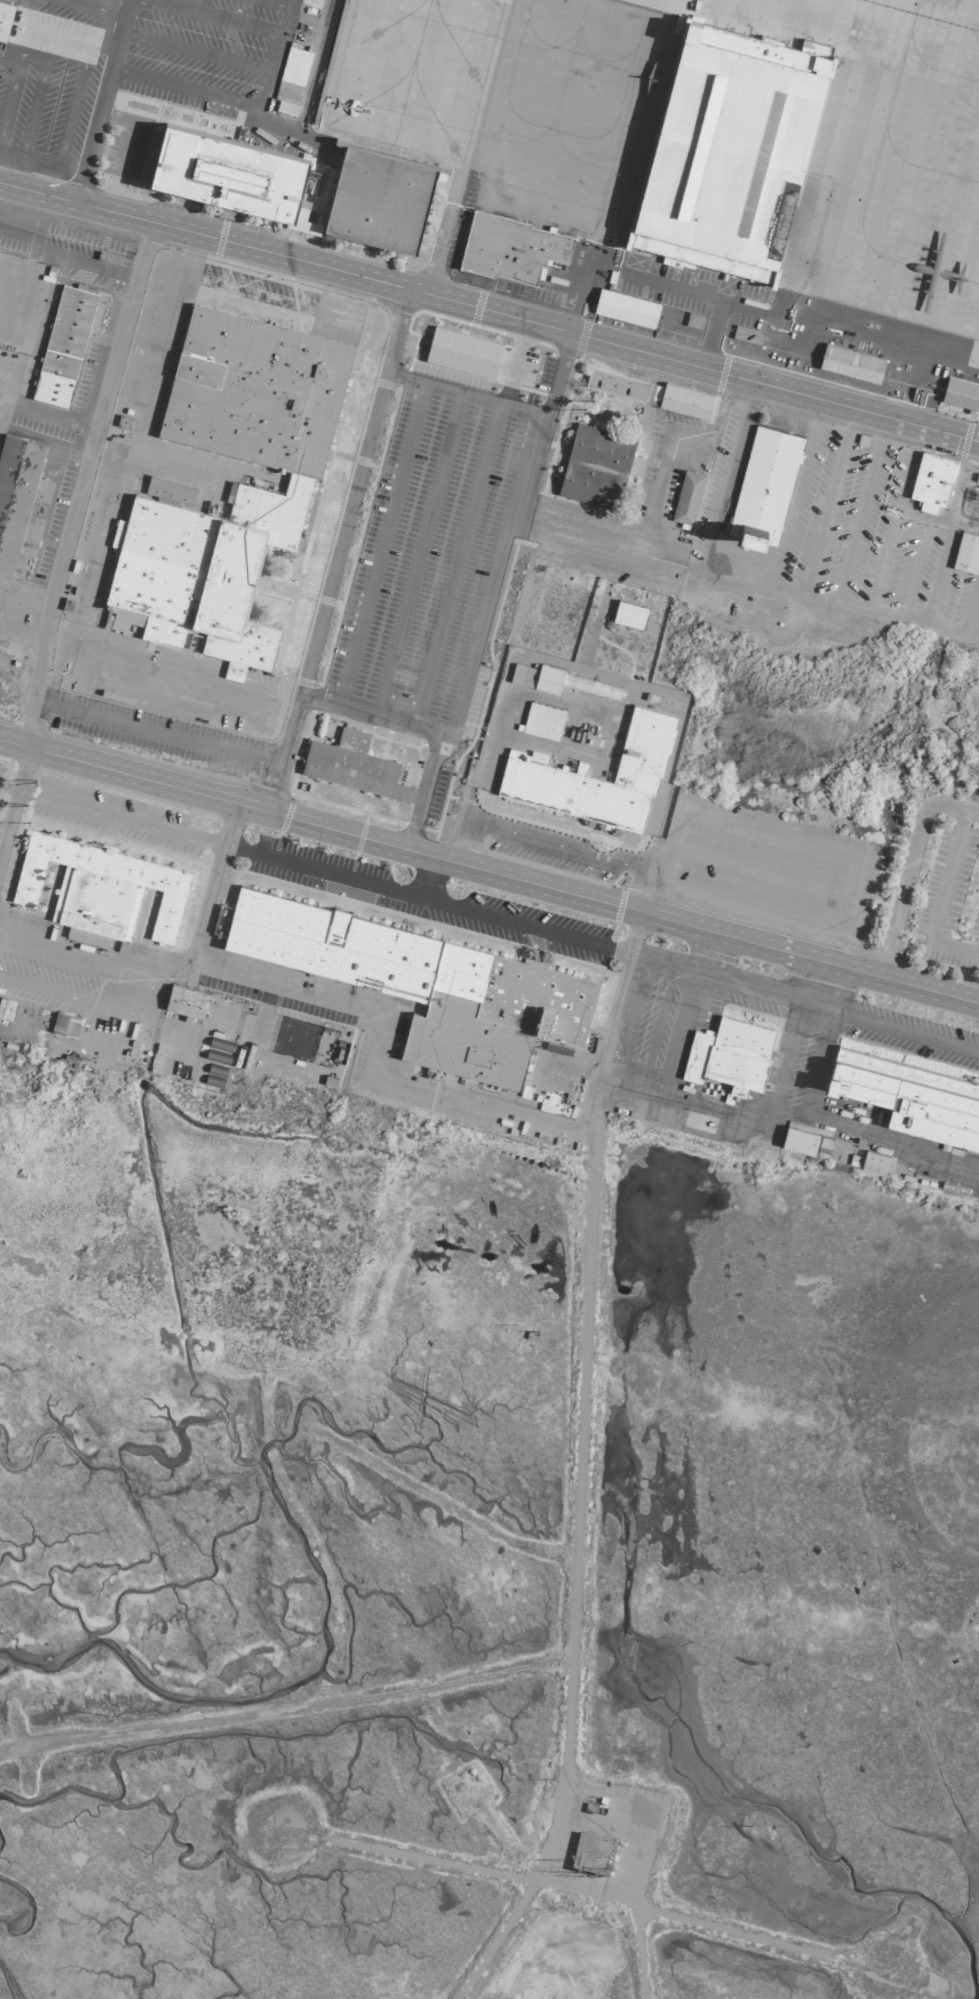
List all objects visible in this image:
road: (272, 4)
road: (191, 5)
road: (93, 8)
building: (4, 17)
road: (235, 23)
road: (68, 38)
road: (274, 53)
road: (41, 72)
road: (264, 85)
road: (99, 100)
road: (68, 121)
building: (729, 149)
airport apron: (555, 172)
building: (231, 174)
building: (380, 196)
road: (32, 220)
building: (511, 247)
road: (88, 263)
road: (649, 278)
building: (625, 307)
road: (489, 312)
building: (694, 319)
building: (746, 334)
building: (64, 343)
building: (462, 351)
building: (850, 363)
road: (7, 376)
building: (649, 392)
road: (464, 394)
building: (961, 394)
road: (721, 403)
road: (46, 412)
building: (595, 466)
road: (667, 467)
building: (932, 481)
road: (80, 482)
building: (764, 484)
building: (169, 489)
building: (270, 494)
building: (686, 498)
building: (20, 503)
road: (580, 512)
road: (381, 543)
road: (576, 545)
road: (660, 546)
road: (338, 551)
building: (966, 552)
road: (417, 553)
road: (455, 564)
road: (489, 592)
road: (25, 597)
building: (629, 614)
road: (21, 634)
building: (536, 677)
building: (590, 686)
road: (372, 713)
building: (542, 720)
road: (156, 732)
building: (352, 764)
building: (538, 772)
road: (11, 800)
road: (744, 821)
road: (3, 824)
road: (461, 836)
road: (571, 850)
road: (907, 863)
road: (488, 872)
road: (334, 874)
road: (422, 876)
road: (656, 878)
building: (99, 888)
road: (850, 903)
road: (178, 971)
building: (424, 983)
airport: (489, 999)
building: (184, 1000)
road: (826, 1005)
building: (64, 1023)
road: (906, 1033)
building: (729, 1054)
road: (819, 1065)
building: (912, 1097)
road: (791, 1115)
building: (798, 1138)
building: (873, 1161)
road: (587, 1297)
road: (292, 1707)
building: (592, 1853)
road: (436, 1860)
road: (730, 1930)
road: (493, 1939)
road: (638, 1953)

